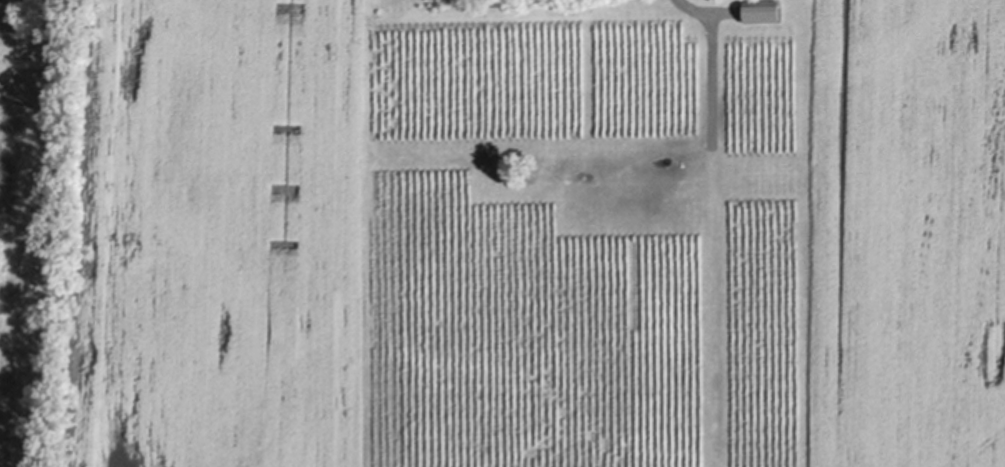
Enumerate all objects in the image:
building: (762, 9)
road: (703, 10)

